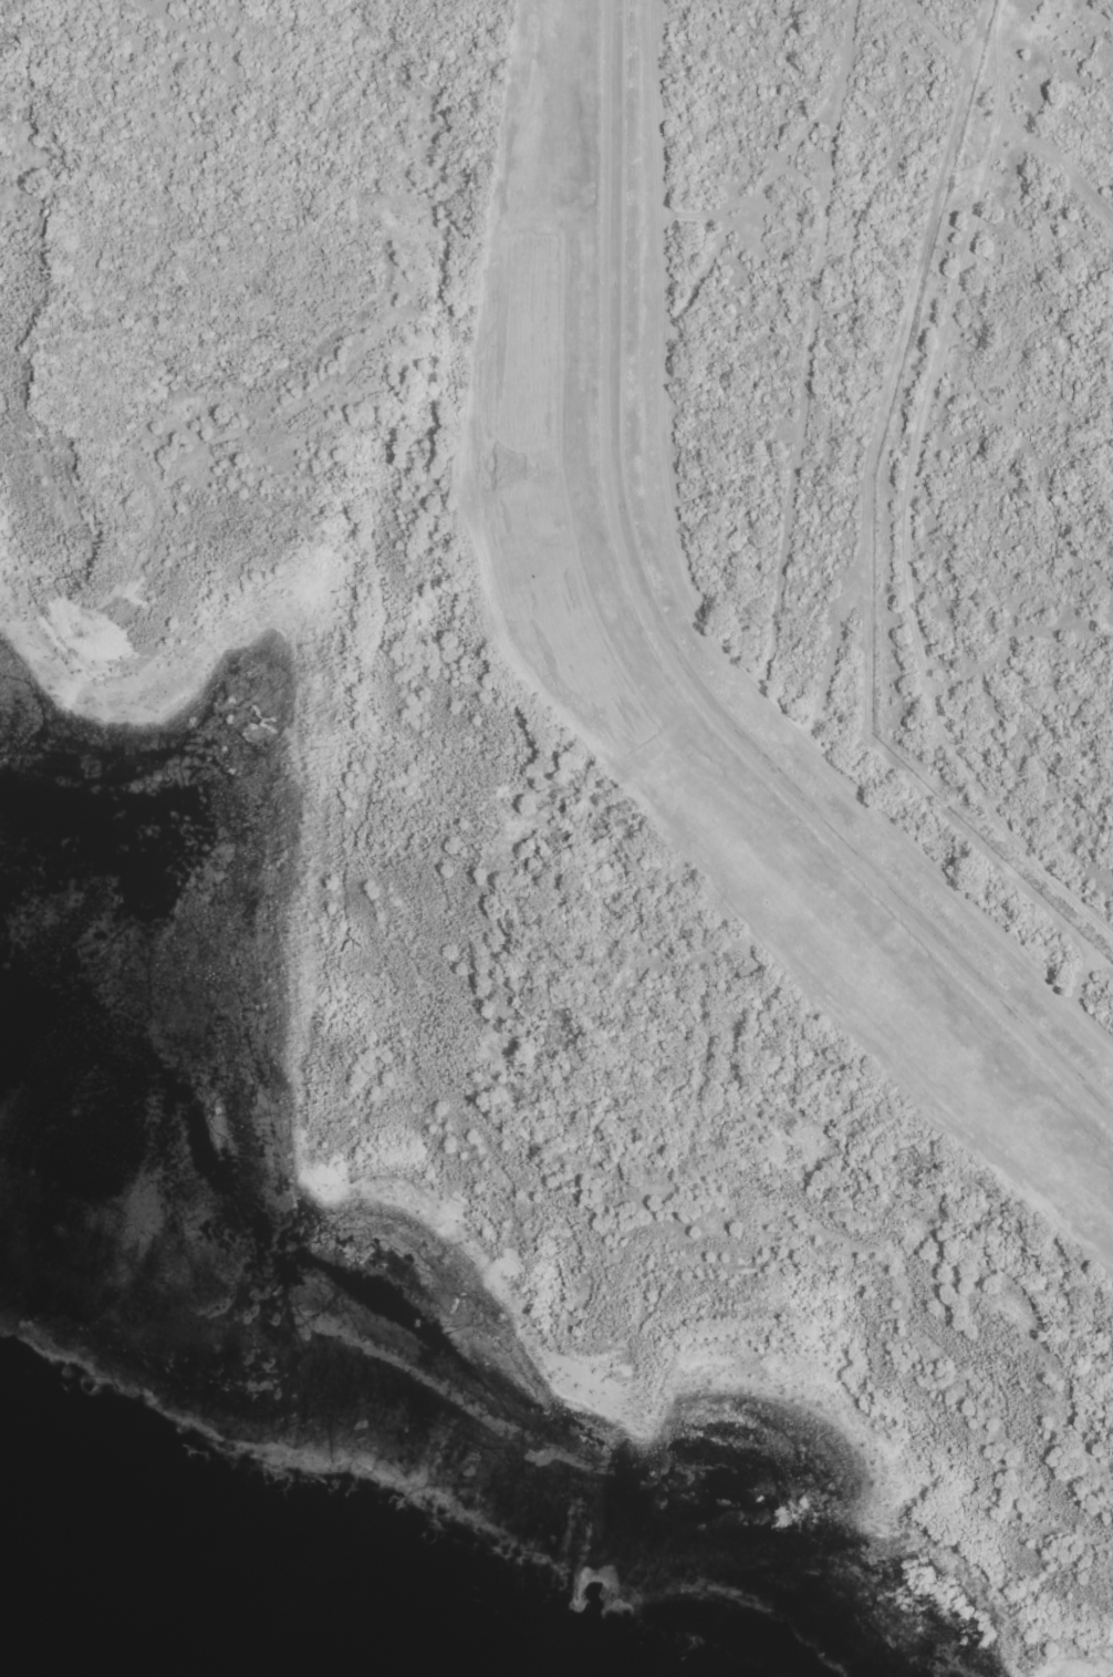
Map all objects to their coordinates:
road: (668, 640)

